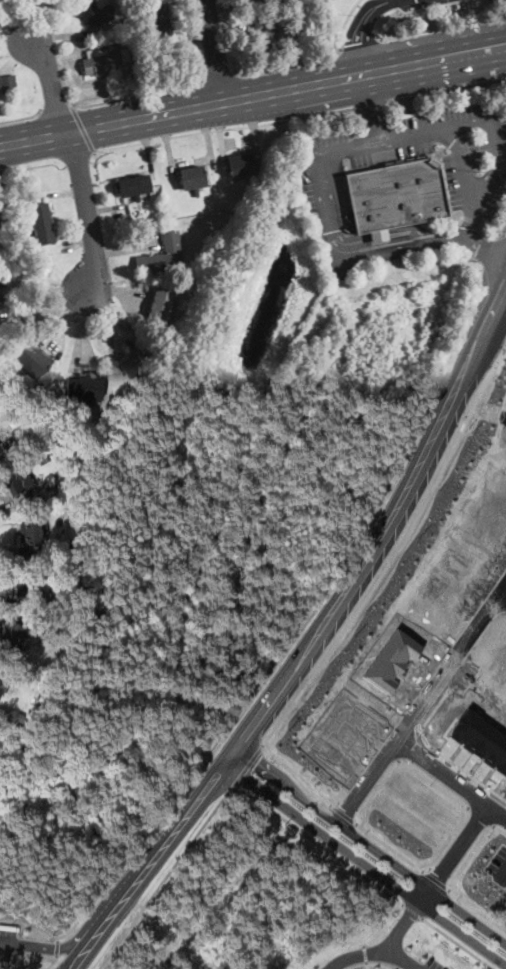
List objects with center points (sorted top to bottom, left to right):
parking lot: (401, 1)
building: (94, 10)
building: (160, 18)
road: (344, 23)
road: (443, 27)
road: (360, 28)
building: (264, 35)
road: (361, 45)
road: (217, 49)
building: (100, 60)
road: (288, 65)
road: (221, 75)
road: (52, 78)
building: (8, 82)
road: (446, 88)
road: (138, 93)
road: (252, 94)
road: (371, 103)
road: (56, 106)
road: (376, 108)
road: (23, 117)
road: (222, 128)
road: (500, 150)
road: (75, 157)
building: (242, 162)
road: (30, 164)
building: (193, 175)
building: (134, 184)
building: (394, 194)
road: (88, 212)
building: (41, 221)
building: (0, 222)
road: (469, 223)
road: (491, 226)
road: (502, 230)
road: (486, 242)
building: (162, 253)
building: (161, 305)
road: (15, 308)
building: (33, 358)
building: (136, 360)
building: (85, 388)
building: (15, 482)
building: (33, 533)
building: (36, 562)
building: (33, 589)
road: (502, 591)
building: (11, 633)
road: (314, 641)
road: (313, 672)
building: (1, 683)
road: (420, 700)
road: (248, 769)
road: (449, 777)
road: (318, 843)
road: (371, 846)
road: (454, 853)
road: (366, 864)
road: (165, 879)
road: (413, 912)
road: (77, 922)
road: (378, 923)
parking lot: (7, 941)
road: (9, 943)
road: (456, 944)
road: (56, 948)
road: (58, 948)
road: (385, 950)
road: (365, 954)
road: (401, 960)
road: (53, 962)
road: (28, 963)
road: (384, 964)
parking lot: (434, 964)
road: (357, 965)
road: (367, 965)

